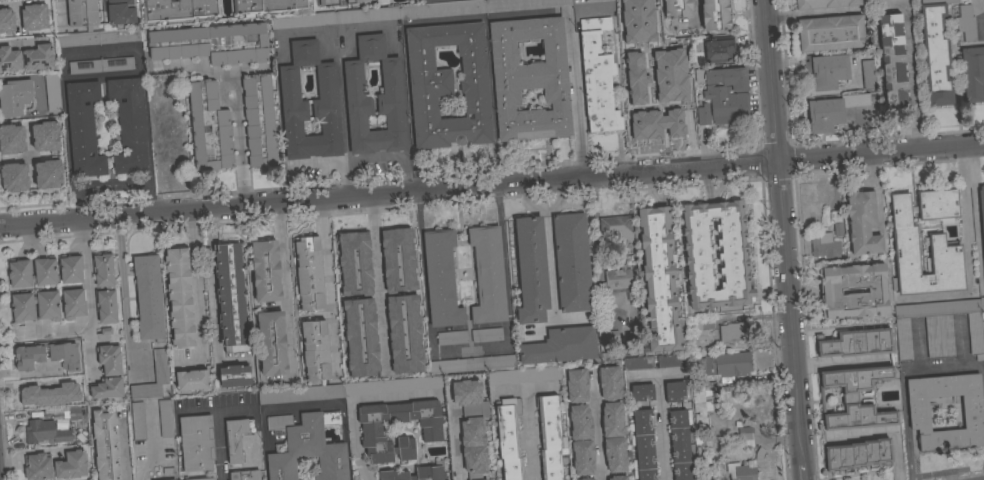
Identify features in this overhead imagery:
building: (592, 1)
building: (637, 1)
building: (983, 1)
building: (353, 2)
building: (328, 3)
building: (824, 3)
building: (266, 6)
building: (472, 7)
building: (179, 10)
building: (676, 10)
road: (694, 11)
building: (120, 13)
road: (60, 14)
building: (714, 15)
road: (980, 15)
building: (34, 17)
building: (334, 17)
building: (6, 20)
building: (83, 21)
building: (965, 22)
building: (633, 28)
building: (830, 34)
building: (211, 43)
building: (635, 49)
building: (718, 49)
road: (97, 51)
building: (678, 52)
building: (935, 52)
building: (38, 57)
road: (572, 58)
building: (9, 60)
building: (101, 65)
building: (893, 65)
building: (826, 71)
road: (910, 71)
building: (972, 74)
building: (868, 75)
building: (353, 77)
building: (597, 78)
building: (529, 79)
building: (672, 82)
building: (155, 84)
building: (637, 84)
building: (448, 85)
road: (656, 89)
building: (52, 92)
building: (722, 95)
building: (14, 97)
building: (323, 99)
building: (678, 111)
building: (832, 111)
road: (343, 116)
road: (237, 122)
building: (259, 122)
building: (642, 122)
building: (129, 125)
building: (208, 127)
building: (83, 129)
building: (40, 138)
building: (9, 141)
building: (173, 152)
road: (347, 164)
building: (43, 176)
building: (11, 179)
road: (112, 181)
road: (491, 186)
building: (937, 204)
road: (542, 211)
building: (981, 212)
road: (977, 220)
building: (837, 223)
building: (862, 223)
building: (614, 225)
road: (59, 235)
road: (785, 240)
building: (826, 248)
building: (945, 248)
road: (966, 251)
building: (731, 256)
road: (549, 259)
building: (398, 260)
building: (571, 262)
building: (354, 264)
building: (70, 269)
building: (531, 270)
building: (265, 271)
building: (18, 272)
building: (308, 273)
building: (487, 275)
road: (328, 279)
building: (441, 279)
building: (658, 279)
road: (376, 281)
building: (618, 282)
road: (214, 283)
road: (284, 284)
building: (104, 288)
building: (830, 291)
road: (983, 292)
road: (88, 294)
road: (197, 294)
road: (124, 295)
building: (148, 297)
building: (179, 297)
building: (230, 298)
building: (72, 304)
building: (981, 304)
building: (21, 308)
building: (703, 324)
road: (803, 326)
building: (939, 327)
building: (733, 332)
building: (404, 335)
building: (486, 335)
building: (360, 338)
building: (451, 338)
building: (608, 339)
building: (855, 343)
building: (271, 344)
building: (561, 346)
road: (470, 348)
building: (314, 350)
building: (29, 354)
building: (672, 360)
building: (637, 363)
building: (470, 364)
building: (725, 364)
building: (160, 366)
road: (941, 371)
building: (107, 373)
building: (524, 375)
building: (234, 377)
building: (192, 380)
road: (982, 385)
building: (674, 391)
building: (641, 392)
building: (35, 394)
building: (301, 394)
building: (856, 398)
building: (610, 401)
building: (578, 404)
building: (701, 406)
road: (199, 413)
building: (972, 413)
building: (76, 416)
building: (165, 418)
building: (138, 421)
building: (471, 424)
road: (905, 427)
road: (660, 429)
road: (216, 430)
building: (45, 432)
building: (431, 432)
building: (744, 435)
building: (550, 437)
building: (236, 438)
building: (509, 438)
road: (529, 438)
road: (355, 441)
building: (196, 443)
building: (680, 443)
building: (642, 444)
building: (105, 445)
road: (154, 446)
building: (305, 447)
road: (2, 450)
building: (615, 454)
building: (857, 454)
building: (582, 457)
road: (784, 462)
building: (55, 466)
building: (744, 468)
building: (416, 473)
building: (244, 475)
road: (961, 476)
building: (618, 478)
building: (171, 479)
building: (203, 479)
building: (300, 479)
building: (485, 479)
building: (585, 479)
building: (593, 479)

